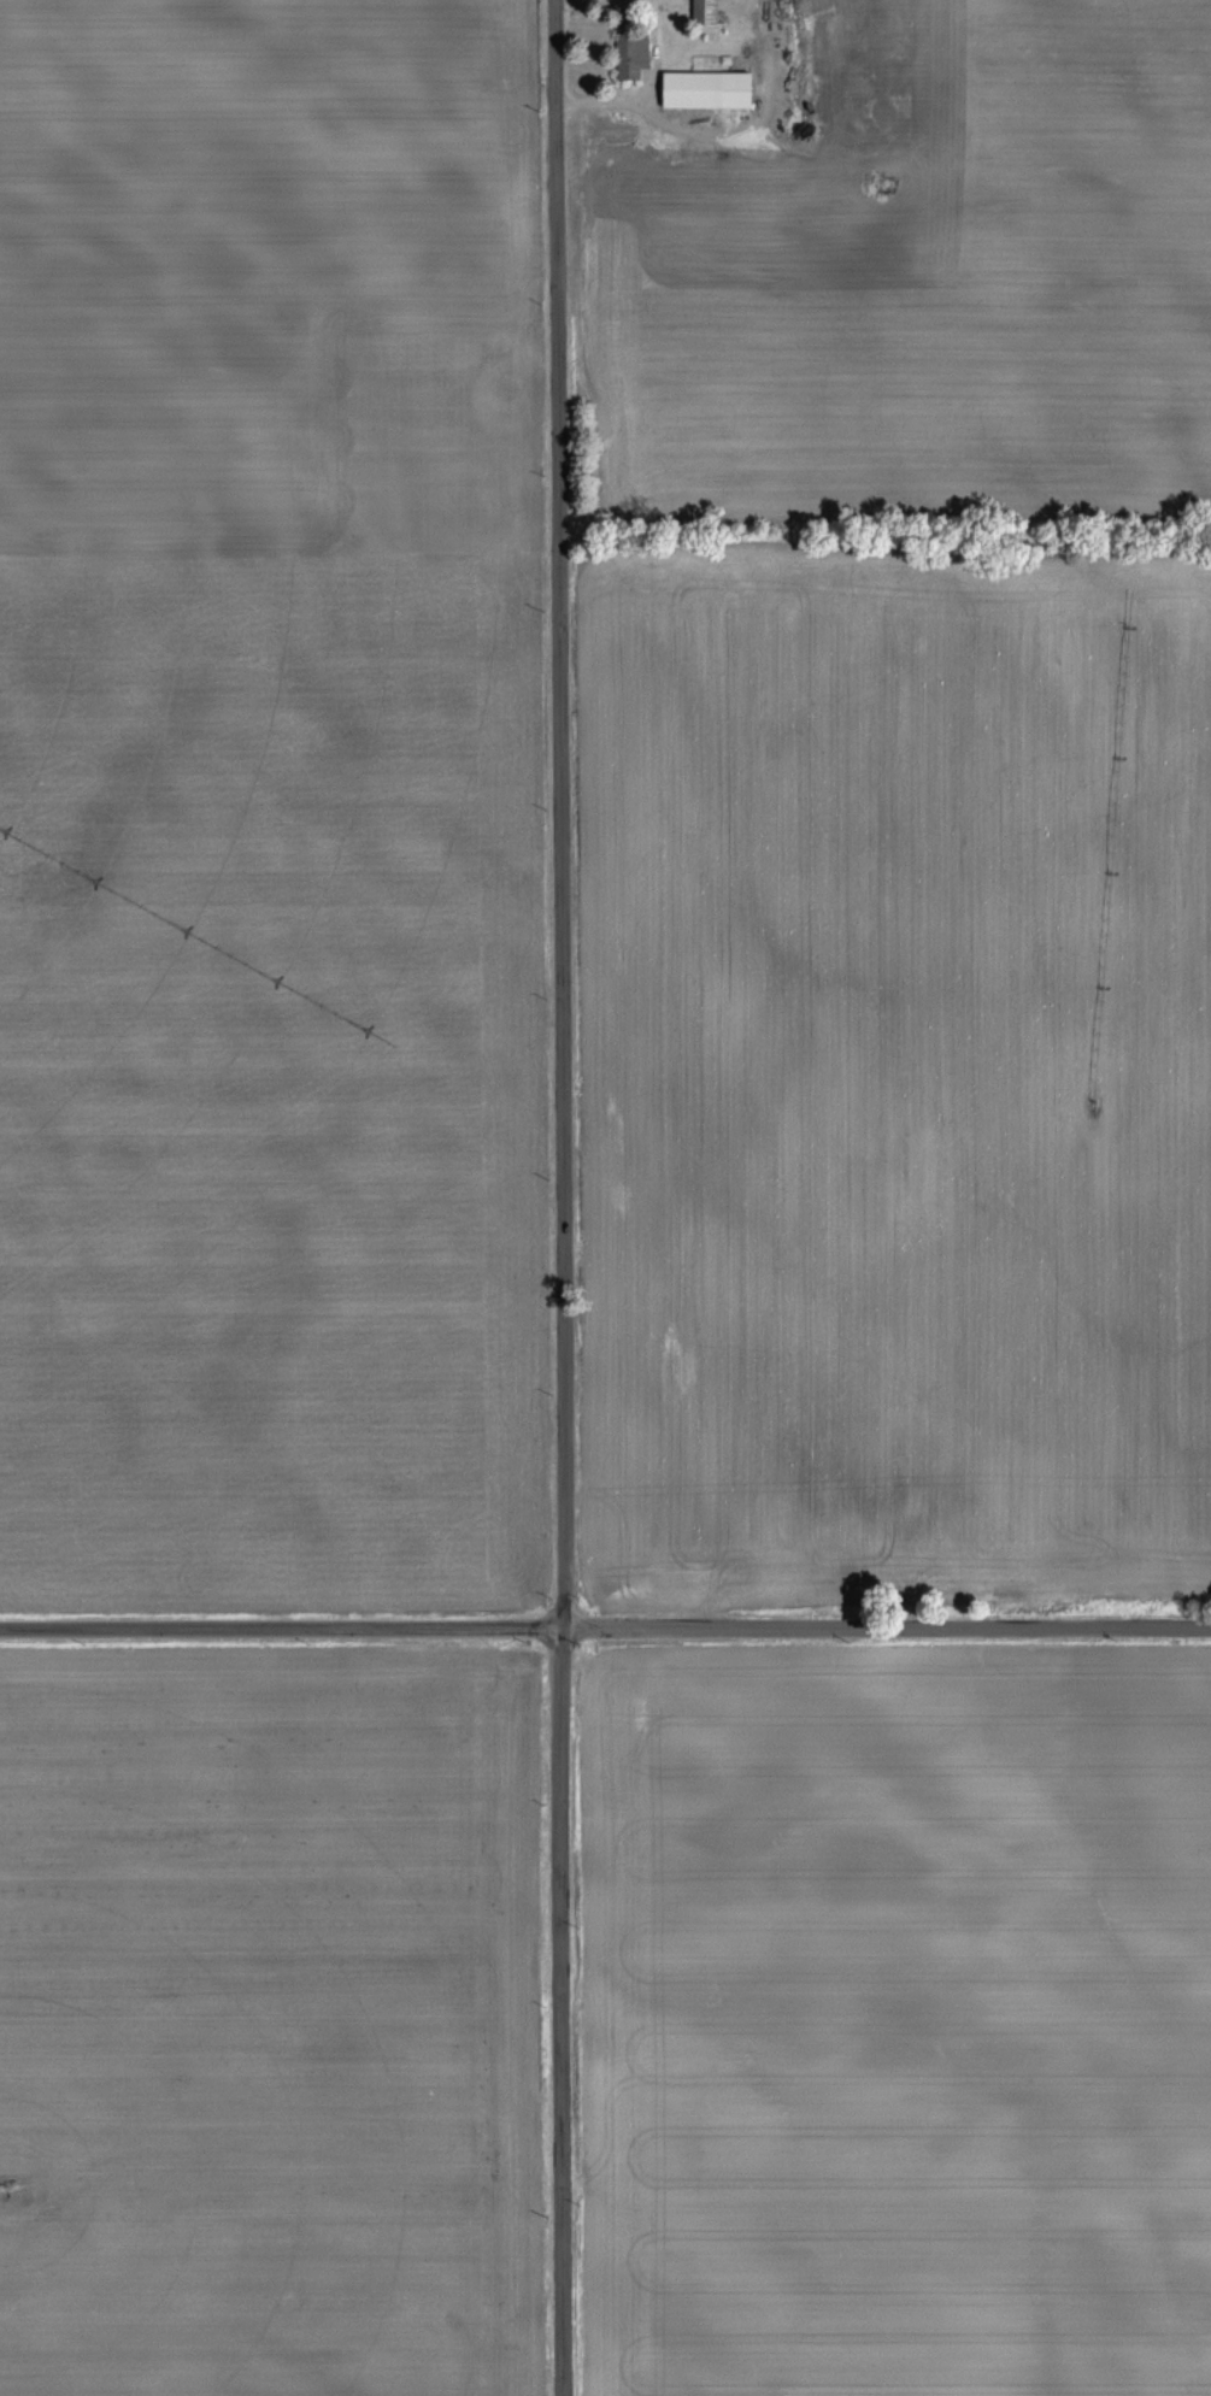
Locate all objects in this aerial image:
building: (709, 12)
building: (839, 22)
building: (625, 45)
building: (725, 59)
road: (642, 87)
building: (713, 89)
crop: (218, 237)
crop: (898, 1071)
road: (560, 1197)
road: (605, 1623)

